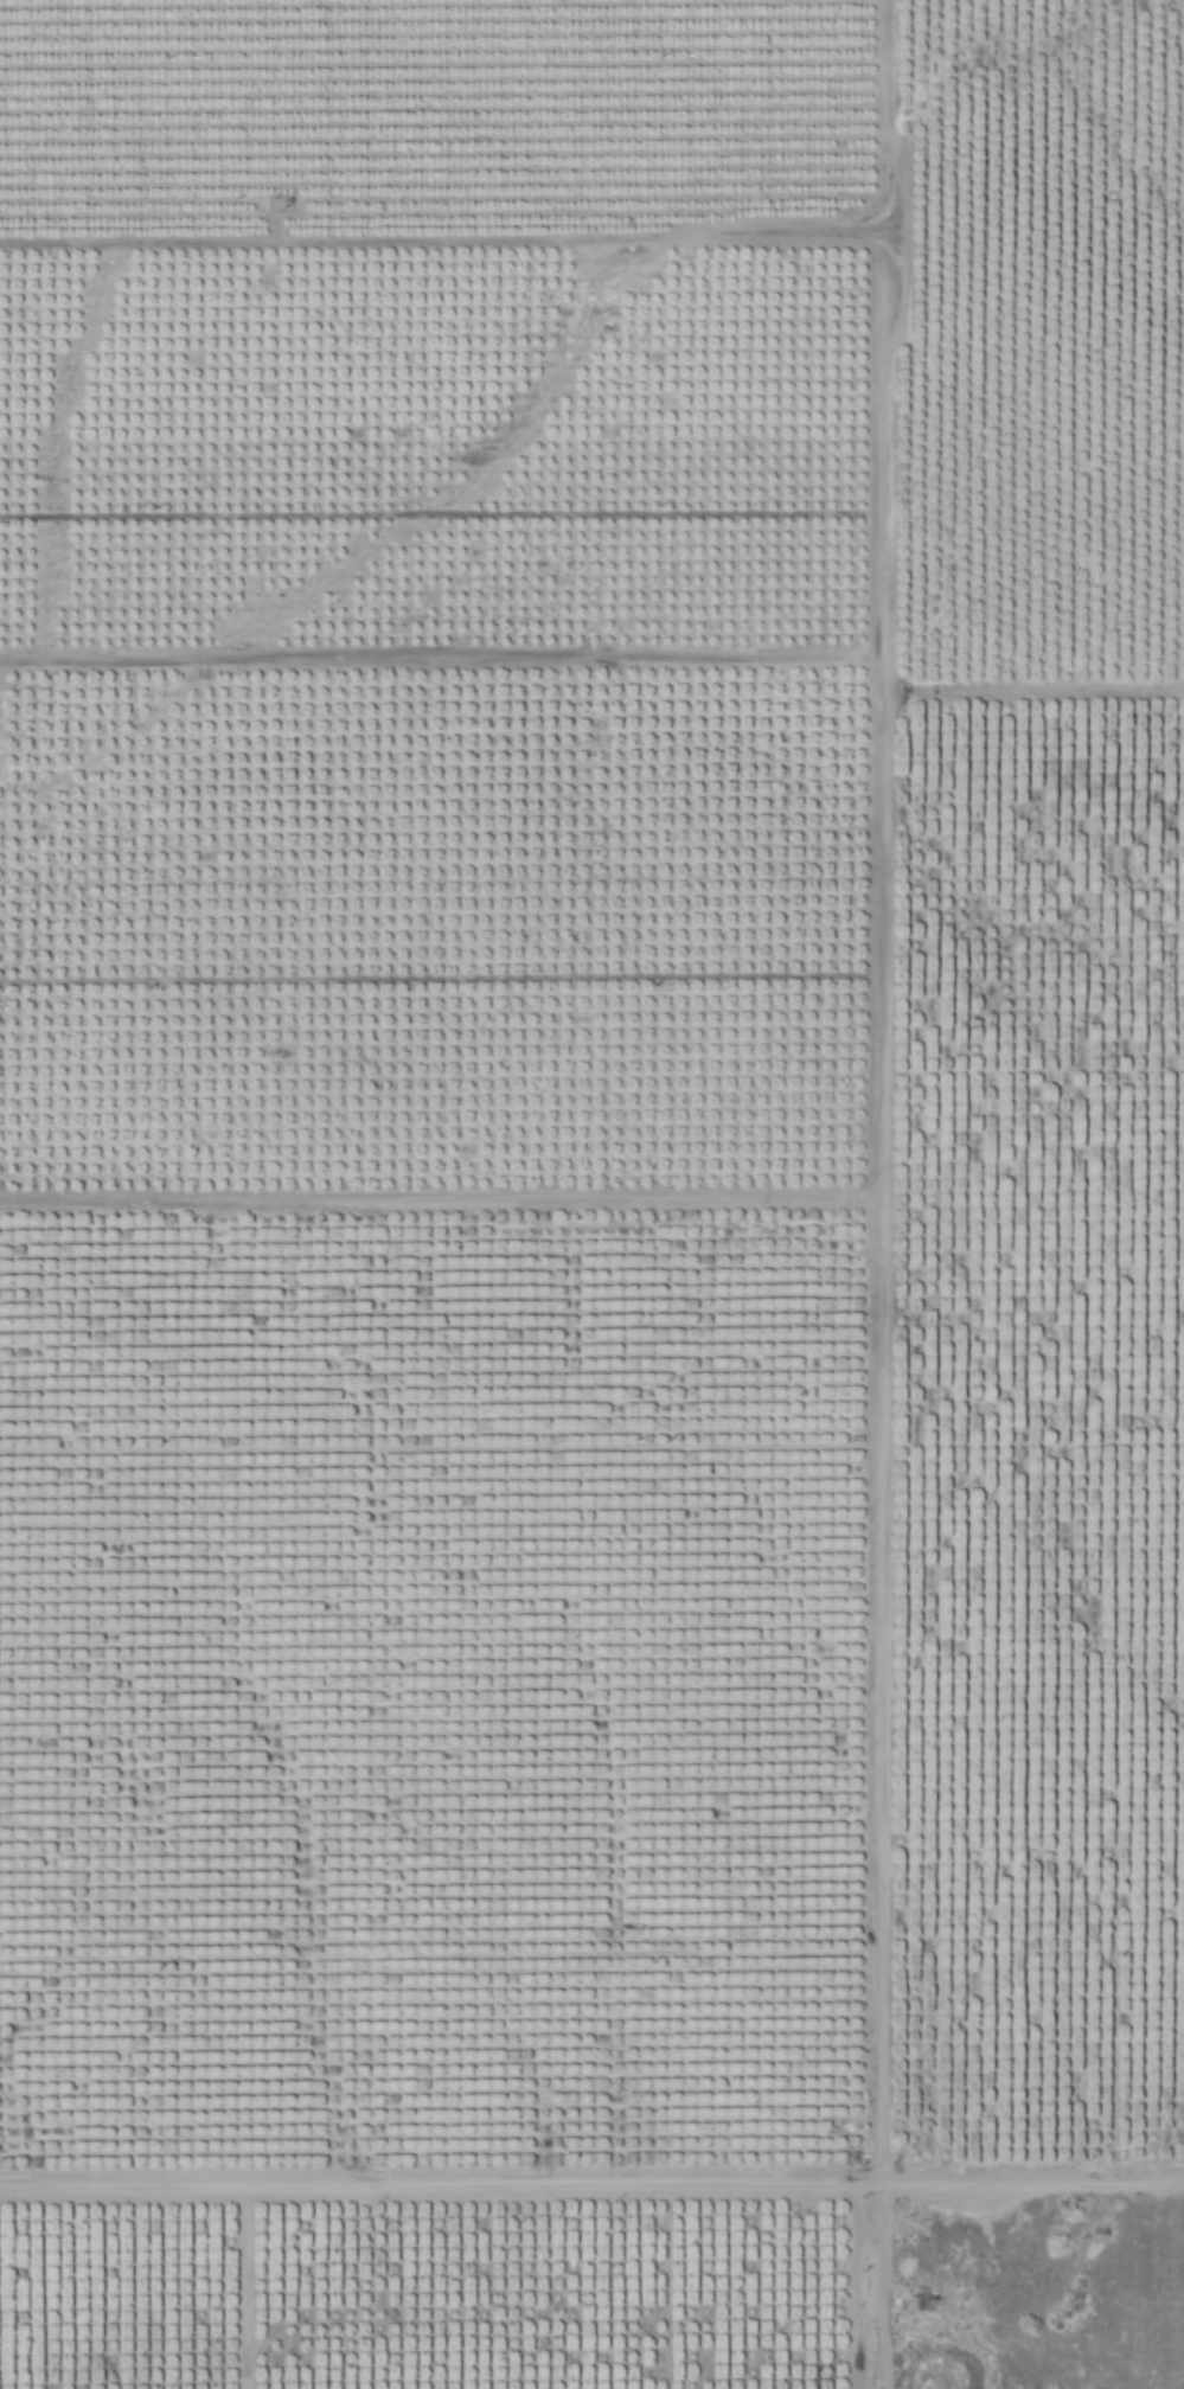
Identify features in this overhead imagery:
road: (850, 1084)
road: (1035, 2178)
road: (889, 2279)

